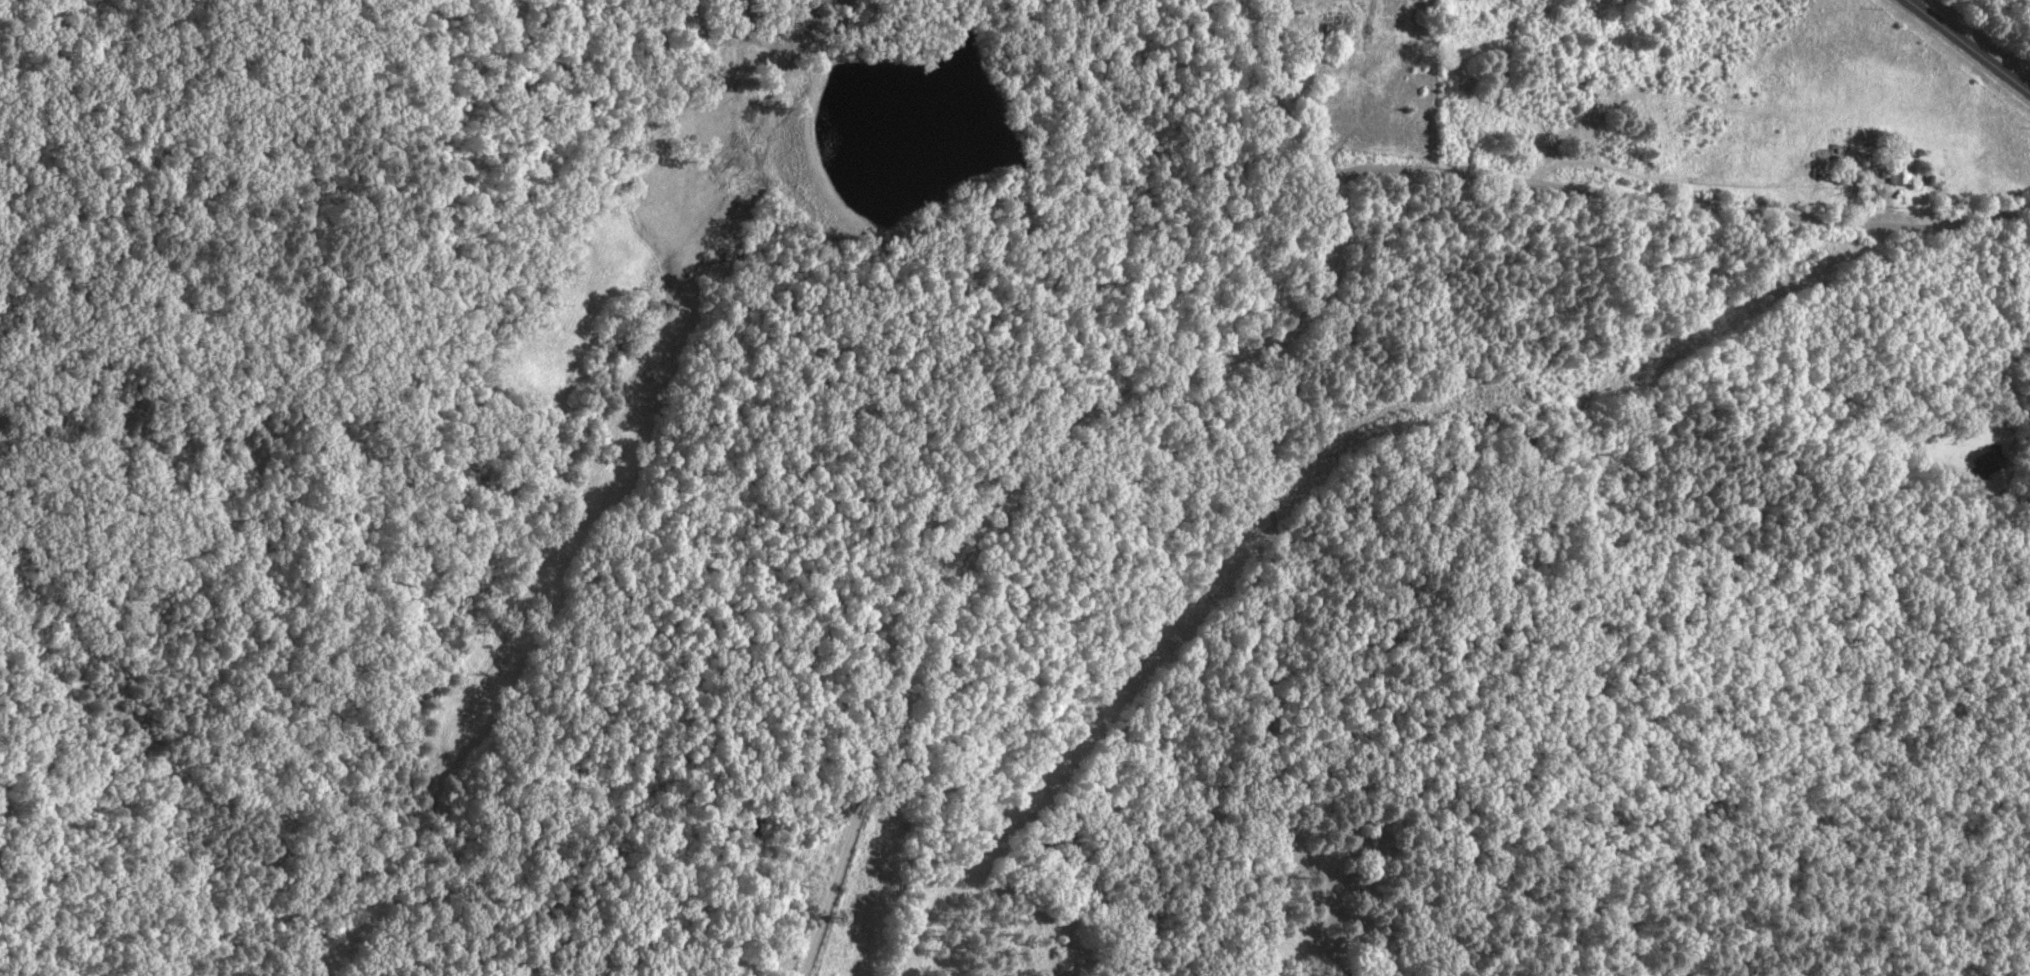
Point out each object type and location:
building: (1341, 26)
road: (1977, 41)
building: (1905, 172)
road: (1592, 182)
road: (1323, 271)
road: (934, 586)
road: (1060, 744)

